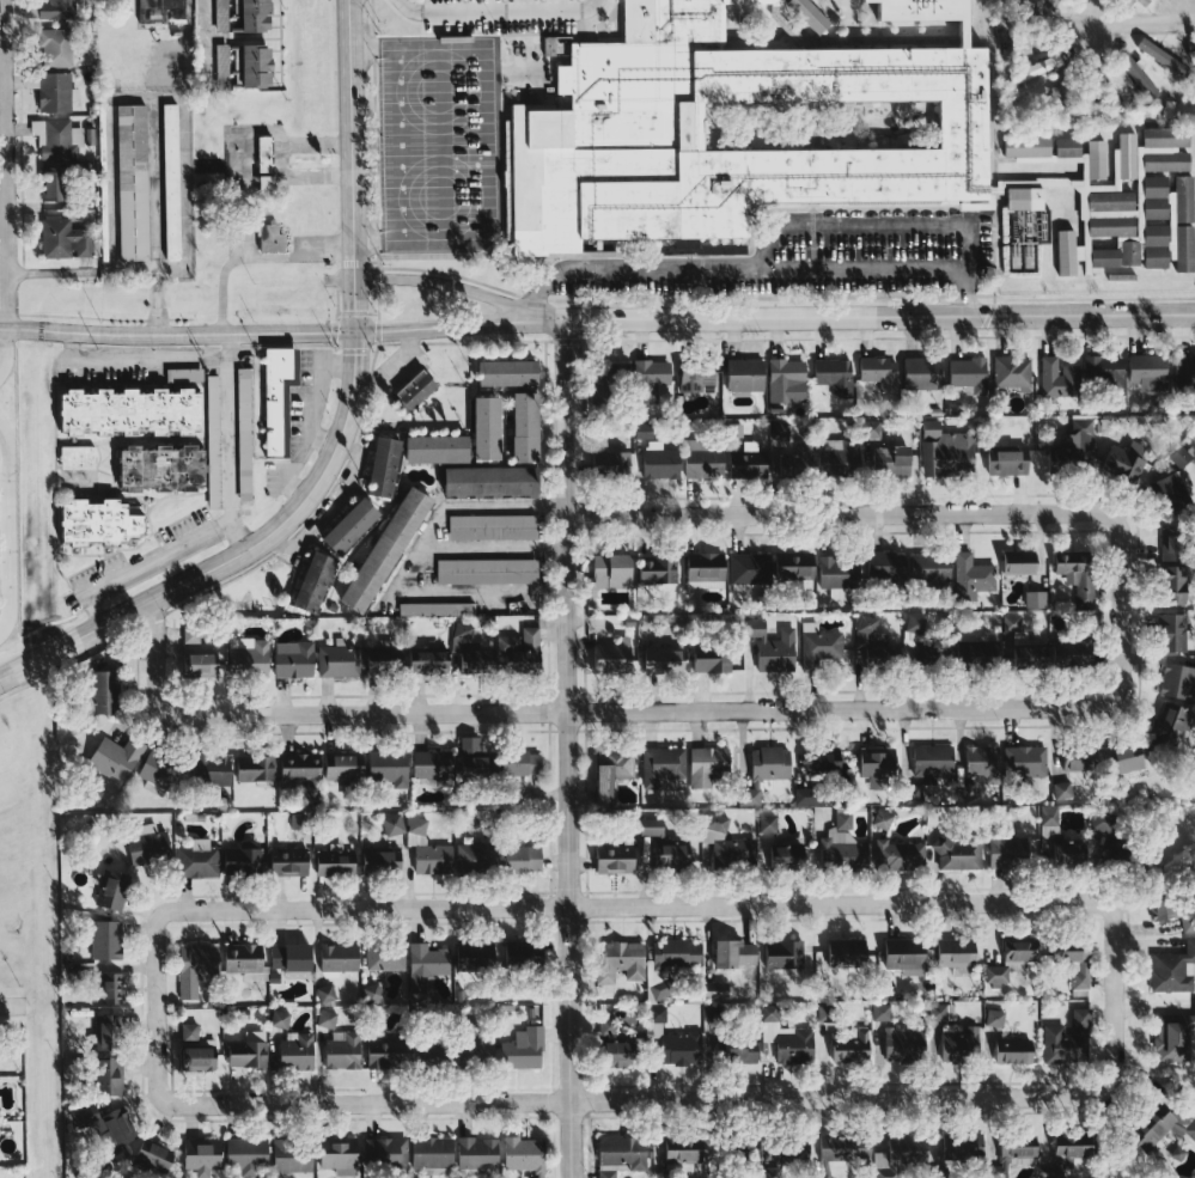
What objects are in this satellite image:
building: (1139, 2)
building: (51, 8)
road: (499, 11)
road: (1091, 12)
building: (217, 14)
building: (809, 14)
building: (248, 16)
road: (1144, 23)
road: (208, 35)
building: (53, 47)
building: (1189, 53)
building: (1158, 55)
building: (249, 66)
building: (1031, 68)
building: (1130, 69)
building: (49, 90)
building: (740, 127)
building: (55, 138)
road: (488, 144)
road: (400, 145)
road: (441, 145)
building: (1023, 146)
building: (1063, 147)
building: (1093, 159)
building: (260, 161)
building: (1148, 163)
road: (4, 164)
building: (166, 181)
building: (129, 182)
building: (49, 184)
building: (1020, 199)
building: (1178, 199)
building: (1106, 200)
road: (150, 212)
road: (847, 224)
building: (61, 238)
building: (267, 238)
building: (1123, 242)
building: (1151, 245)
building: (1181, 249)
building: (1063, 252)
road: (256, 258)
road: (733, 268)
road: (965, 269)
road: (53, 270)
road: (152, 273)
road: (445, 283)
road: (154, 306)
road: (597, 318)
traffic signals: (355, 331)
road: (4, 348)
road: (136, 356)
building: (1183, 367)
building: (1008, 370)
building: (1099, 370)
building: (500, 371)
building: (876, 371)
building: (1144, 371)
building: (917, 372)
building: (182, 373)
building: (739, 373)
building: (965, 373)
building: (830, 374)
building: (693, 377)
building: (1055, 377)
building: (645, 378)
building: (782, 379)
building: (410, 389)
building: (273, 396)
building: (122, 409)
building: (209, 415)
building: (518, 425)
road: (230, 426)
building: (480, 426)
building: (732, 428)
building: (240, 432)
road: (341, 432)
building: (778, 437)
building: (1072, 444)
building: (429, 447)
building: (943, 448)
building: (1176, 453)
building: (834, 454)
building: (74, 456)
building: (798, 457)
building: (699, 458)
building: (656, 459)
building: (886, 459)
building: (614, 460)
building: (1002, 460)
building: (1116, 462)
building: (377, 464)
building: (739, 464)
building: (153, 466)
building: (482, 480)
building: (1165, 490)
road: (886, 512)
building: (94, 521)
building: (343, 524)
building: (489, 525)
road: (6, 532)
building: (1165, 544)
building: (378, 548)
road: (495, 548)
road: (154, 557)
road: (420, 560)
building: (1014, 561)
building: (882, 563)
building: (767, 566)
building: (926, 567)
building: (653, 568)
building: (483, 569)
building: (604, 569)
building: (700, 569)
building: (834, 573)
building: (1072, 573)
building: (969, 575)
building: (306, 580)
building: (1169, 584)
building: (1032, 598)
building: (433, 608)
building: (1008, 622)
building: (1169, 630)
building: (188, 634)
building: (870, 641)
building: (817, 643)
building: (769, 646)
building: (973, 648)
building: (464, 649)
building: (517, 649)
building: (1065, 651)
building: (608, 654)
building: (244, 655)
building: (385, 657)
building: (707, 657)
building: (288, 658)
building: (336, 660)
building: (421, 660)
building: (657, 660)
building: (196, 663)
building: (1176, 680)
building: (96, 690)
road: (629, 709)
building: (1164, 726)
road: (567, 749)
building: (110, 756)
building: (1073, 757)
building: (469, 758)
building: (928, 759)
building: (1022, 759)
building: (1120, 759)
building: (819, 761)
building: (514, 762)
building: (764, 762)
building: (977, 762)
building: (427, 764)
building: (702, 764)
building: (339, 765)
building: (384, 765)
building: (872, 765)
building: (661, 768)
building: (207, 769)
building: (274, 769)
building: (154, 770)
building: (608, 771)
building: (1060, 789)
building: (745, 795)
building: (799, 795)
building: (1045, 814)
building: (1095, 819)
building: (840, 820)
building: (390, 823)
building: (764, 823)
building: (648, 826)
park: (11, 842)
building: (144, 843)
building: (724, 843)
building: (423, 848)
building: (837, 850)
building: (1005, 850)
building: (1061, 853)
building: (664, 854)
building: (780, 854)
building: (956, 854)
building: (896, 855)
building: (609, 856)
building: (471, 857)
building: (517, 857)
building: (212, 859)
building: (376, 859)
building: (330, 860)
building: (282, 861)
building: (106, 889)
road: (634, 903)
building: (1163, 904)
building: (100, 938)
building: (1016, 950)
building: (840, 951)
building: (728, 952)
building: (950, 952)
building: (519, 953)
building: (898, 953)
building: (382, 954)
building: (780, 954)
building: (285, 956)
building: (335, 957)
building: (237, 958)
building: (1069, 959)
building: (616, 960)
building: (443, 962)
building: (191, 966)
building: (1170, 968)
building: (993, 975)
building: (103, 985)
building: (712, 990)
building: (322, 993)
road: (11, 1005)
building: (935, 1011)
building: (878, 1012)
building: (990, 1017)
building: (276, 1018)
building: (104, 1020)
building: (603, 1026)
building: (185, 1031)
building: (1170, 1033)
building: (784, 1037)
building: (670, 1039)
building: (956, 1039)
building: (1066, 1039)
building: (470, 1042)
building: (900, 1043)
building: (845, 1045)
building: (519, 1048)
building: (292, 1050)
building: (339, 1050)
building: (736, 1050)
building: (1008, 1050)
building: (243, 1051)
building: (377, 1052)
building: (609, 1054)
building: (421, 1055)
building: (194, 1057)
building: (100, 1076)
road: (630, 1100)
building: (1157, 1124)
building: (99, 1125)
building: (961, 1146)
building: (677, 1148)
building: (839, 1148)
building: (1065, 1148)
building: (383, 1150)
building: (618, 1150)
building: (793, 1150)
building: (427, 1152)
building: (472, 1152)
building: (746, 1152)
building: (519, 1153)
building: (147, 1154)
building: (895, 1154)
building: (1008, 1154)
building: (242, 1155)
building: (333, 1155)
building: (195, 1156)
building: (287, 1158)
building: (603, 1173)
building: (819, 1174)
building: (532, 1177)

